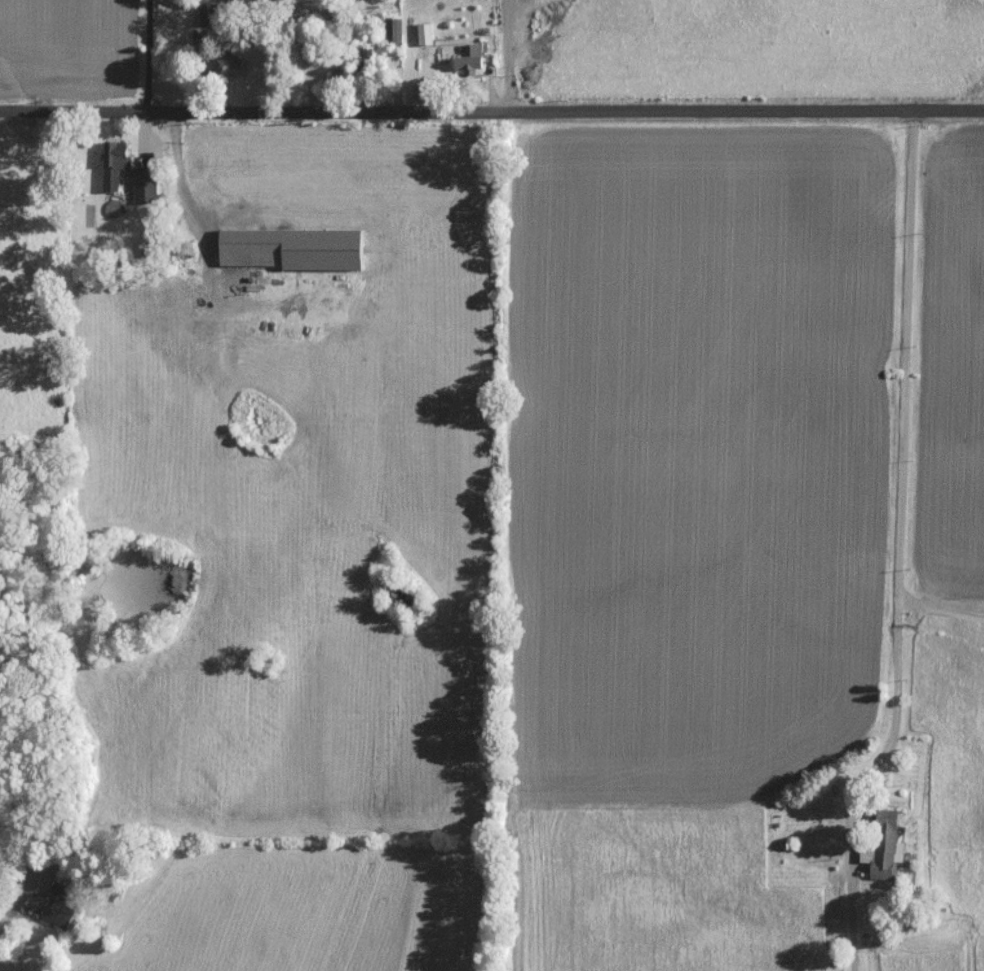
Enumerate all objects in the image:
building: (209, 12)
building: (519, 15)
building: (396, 29)
building: (426, 33)
road: (505, 48)
road: (146, 50)
building: (473, 59)
building: (228, 64)
road: (491, 98)
building: (115, 163)
building: (146, 184)
building: (294, 248)
road: (896, 411)
road: (939, 611)
road: (849, 844)
building: (886, 847)
road: (20, 903)
building: (52, 905)

